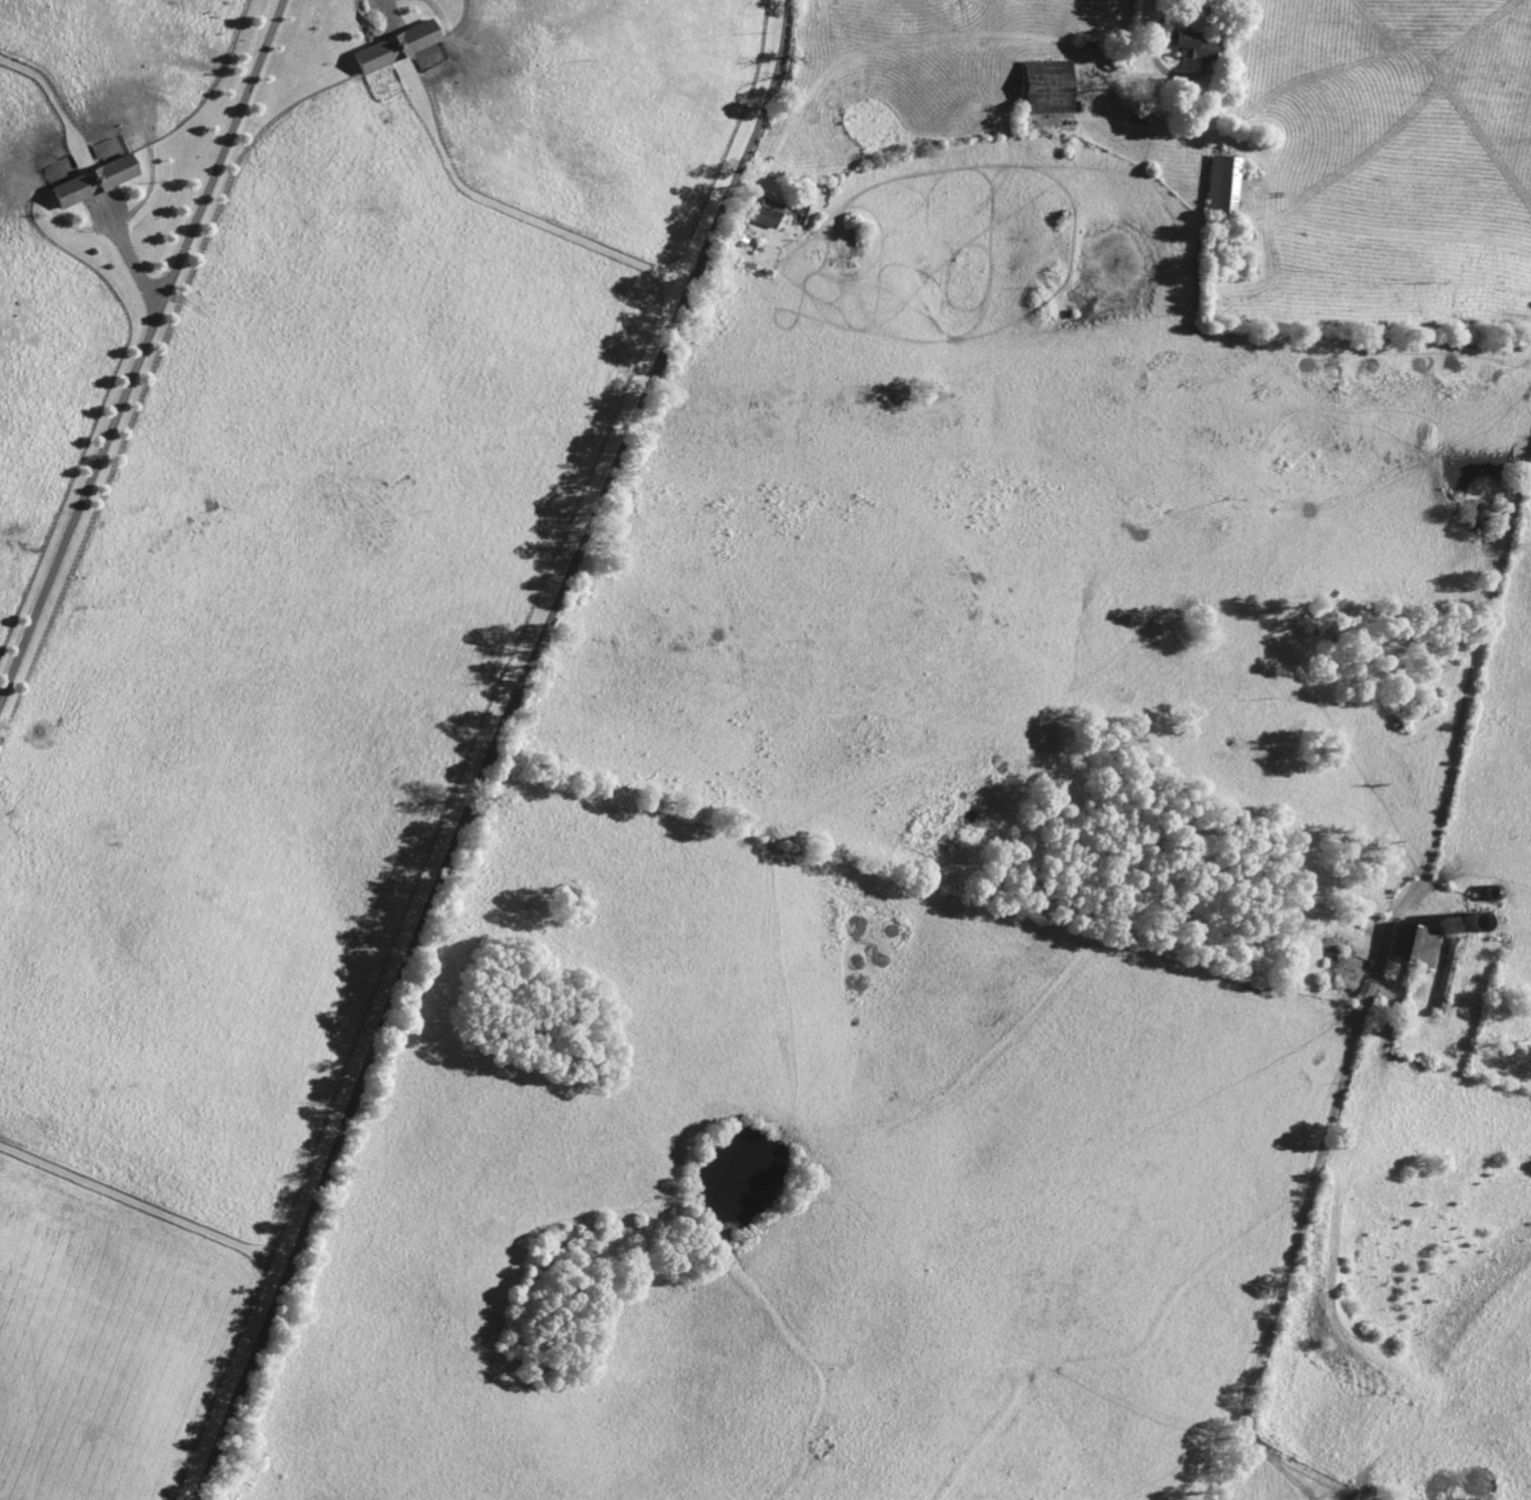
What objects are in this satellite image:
building: (1189, 46)
building: (394, 47)
building: (433, 58)
road: (1182, 79)
building: (1044, 85)
building: (87, 180)
building: (1222, 185)
building: (767, 211)
building: (739, 238)
road: (142, 351)
road: (492, 748)
building: (1411, 945)
building: (1447, 969)
road: (1375, 981)

